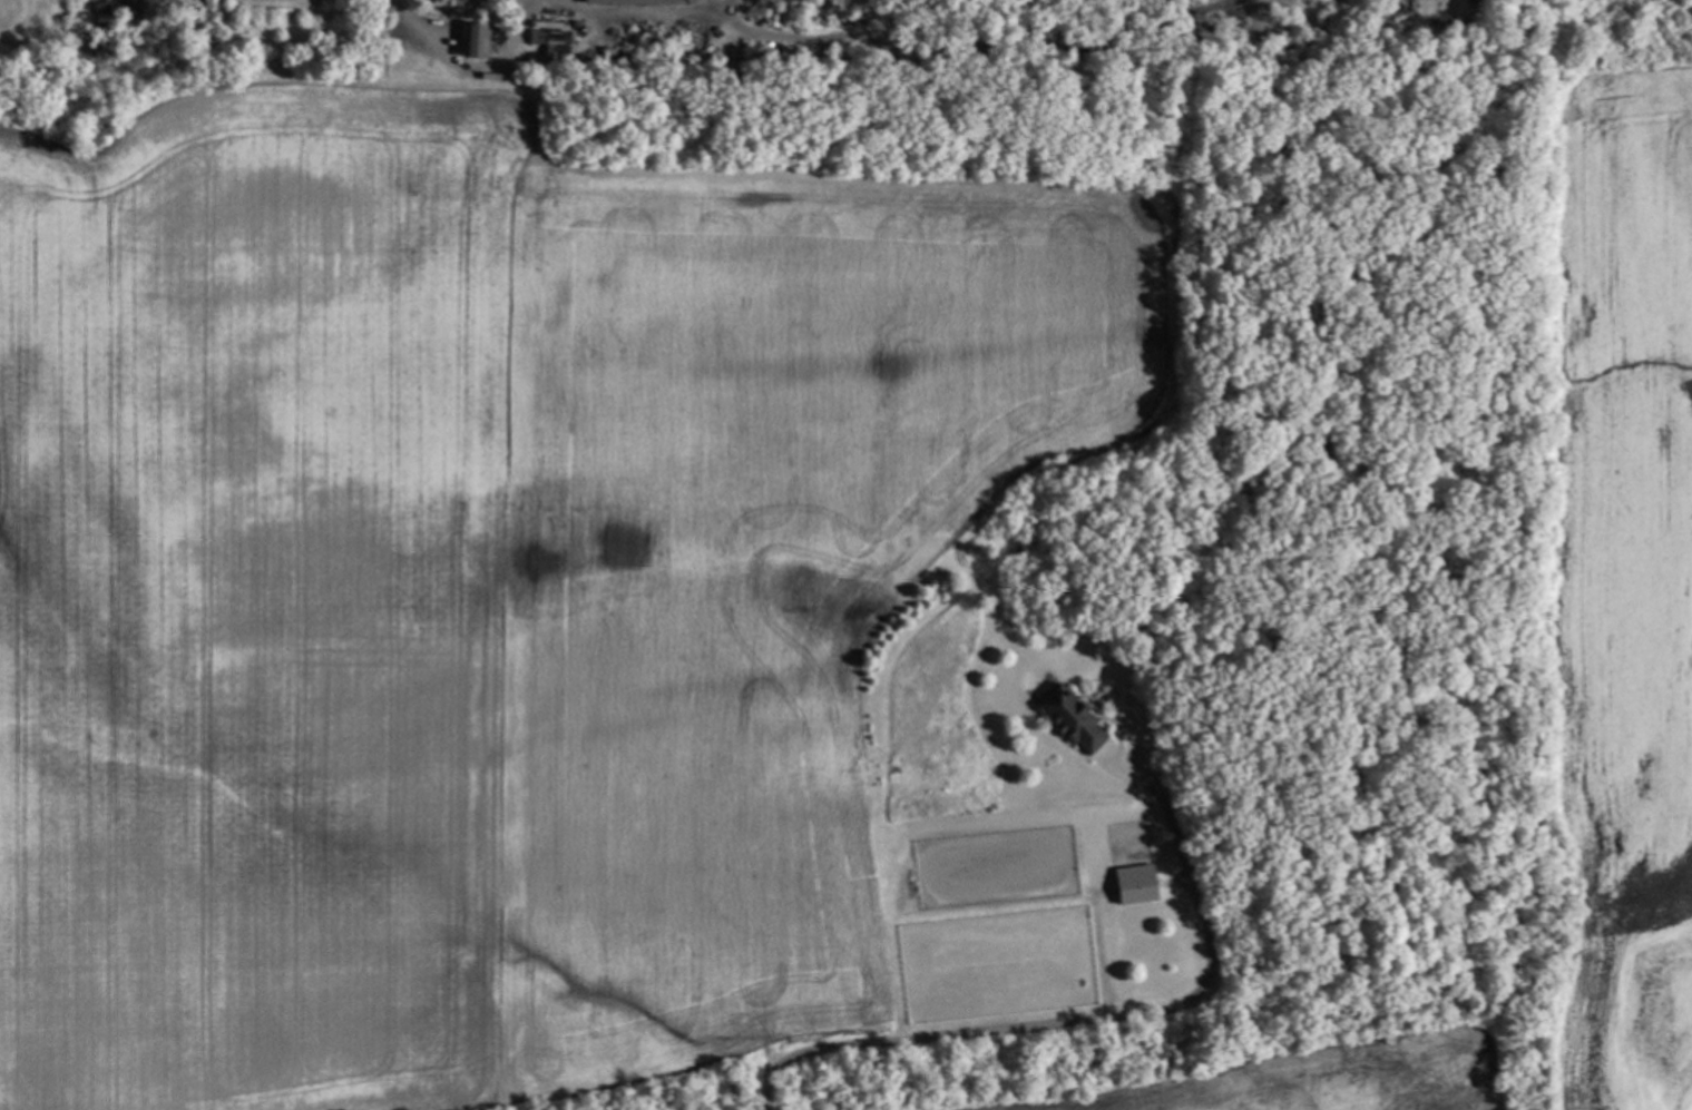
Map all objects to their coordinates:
building: (336, 1)
building: (637, 1)
road: (409, 19)
building: (512, 23)
building: (482, 39)
building: (559, 50)
building: (376, 56)
building: (245, 58)
building: (628, 58)
building: (345, 67)
crop: (488, 581)
crop: (1622, 588)
building: (1074, 717)
building: (1140, 884)
road: (1079, 1021)
crop: (1241, 1077)

